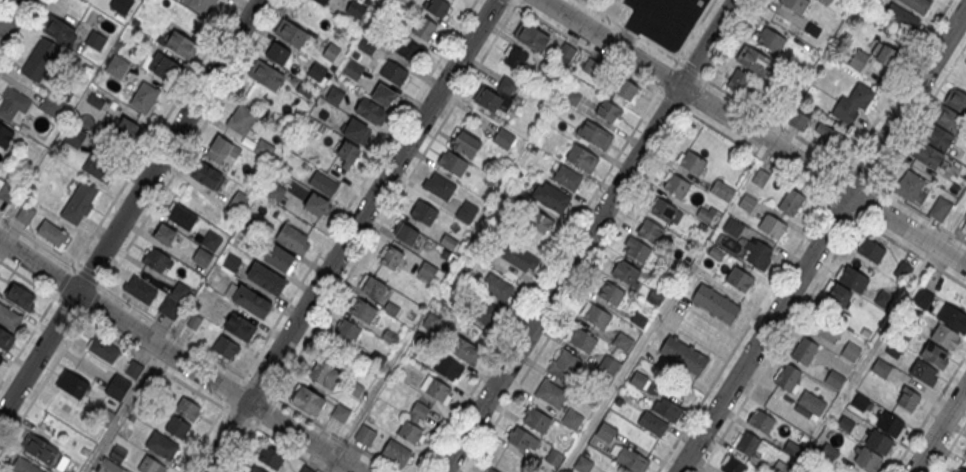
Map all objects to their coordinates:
building: (405, 0)
building: (322, 1)
road: (1, 2)
building: (201, 5)
building: (795, 5)
building: (917, 5)
building: (436, 7)
building: (355, 8)
building: (902, 16)
road: (11, 18)
parking lot: (664, 19)
building: (424, 27)
building: (60, 31)
building: (291, 32)
road: (22, 35)
building: (532, 37)
building: (96, 41)
building: (771, 41)
building: (181, 45)
building: (366, 46)
road: (583, 46)
building: (406, 48)
road: (658, 49)
building: (331, 51)
building: (277, 53)
building: (565, 54)
building: (886, 56)
building: (515, 57)
building: (40, 59)
building: (752, 59)
building: (858, 60)
building: (117, 66)
building: (163, 66)
building: (590, 66)
building: (353, 69)
building: (318, 71)
building: (393, 72)
building: (265, 74)
building: (738, 82)
building: (305, 89)
building: (627, 89)
building: (334, 94)
building: (383, 94)
building: (144, 97)
building: (573, 97)
building: (487, 98)
road: (888, 98)
building: (956, 100)
building: (853, 103)
building: (14, 105)
building: (50, 107)
building: (369, 109)
building: (609, 111)
building: (242, 118)
building: (949, 119)
building: (124, 129)
building: (357, 130)
road: (911, 130)
road: (155, 133)
building: (595, 133)
road: (753, 133)
building: (6, 136)
building: (938, 137)
building: (503, 139)
building: (464, 142)
road: (192, 143)
building: (264, 148)
building: (221, 150)
road: (821, 151)
building: (348, 153)
building: (927, 154)
building: (581, 156)
building: (692, 161)
building: (452, 162)
building: (98, 169)
building: (206, 174)
building: (567, 175)
building: (760, 177)
building: (323, 183)
building: (676, 183)
building: (908, 185)
building: (439, 186)
road: (358, 188)
building: (721, 188)
building: (7, 191)
building: (276, 192)
building: (550, 195)
road: (395, 197)
building: (790, 200)
building: (79, 202)
building: (746, 202)
building: (316, 203)
building: (236, 204)
building: (940, 207)
road: (129, 208)
building: (662, 208)
building: (424, 212)
building: (25, 213)
building: (466, 213)
building: (705, 213)
building: (965, 215)
building: (182, 216)
building: (540, 223)
building: (733, 226)
building: (773, 226)
building: (650, 228)
building: (407, 233)
building: (53, 234)
building: (165, 234)
road: (587, 235)
road: (610, 235)
road: (349, 236)
building: (293, 238)
road: (821, 239)
road: (36, 240)
building: (212, 240)
building: (449, 243)
building: (636, 247)
building: (871, 249)
building: (758, 253)
building: (202, 257)
building: (279, 257)
building: (392, 257)
building: (156, 259)
building: (520, 259)
road: (785, 265)
building: (902, 270)
building: (626, 271)
building: (426, 272)
building: (266, 278)
building: (740, 279)
road: (538, 282)
building: (373, 287)
building: (845, 288)
building: (140, 289)
building: (179, 291)
building: (611, 292)
building: (20, 296)
building: (252, 301)
building: (481, 302)
building: (716, 303)
building: (170, 307)
building: (363, 310)
building: (595, 316)
building: (9, 317)
building: (953, 317)
road: (157, 321)
building: (194, 321)
building: (431, 323)
road: (36, 324)
building: (240, 326)
building: (826, 328)
building: (347, 330)
road: (110, 334)
building: (944, 335)
building: (581, 338)
building: (6, 339)
building: (622, 341)
road: (779, 345)
building: (225, 347)
building: (462, 348)
building: (103, 349)
building: (804, 351)
building: (850, 351)
building: (683, 353)
building: (934, 355)
road: (176, 357)
building: (1, 358)
building: (565, 365)
building: (880, 366)
building: (449, 368)
road: (51, 369)
building: (921, 371)
building: (325, 374)
building: (788, 376)
building: (834, 378)
building: (639, 380)
road: (618, 381)
building: (72, 384)
building: (118, 387)
building: (356, 389)
building: (437, 389)
road: (372, 393)
building: (551, 393)
building: (908, 398)
building: (309, 400)
building: (779, 402)
building: (812, 402)
building: (860, 403)
road: (122, 409)
building: (668, 409)
building: (188, 410)
building: (340, 412)
road: (929, 412)
building: (573, 418)
building: (536, 419)
building: (652, 421)
building: (761, 421)
building: (890, 423)
road: (212, 424)
road: (319, 424)
building: (845, 424)
building: (177, 428)
road: (939, 429)
building: (409, 431)
building: (606, 431)
road: (249, 434)
building: (365, 434)
road: (274, 439)
building: (523, 439)
building: (879, 441)
building: (746, 442)
building: (162, 446)
road: (950, 447)
building: (41, 449)
building: (792, 449)
building: (396, 452)
building: (828, 452)
building: (965, 456)
building: (271, 457)
building: (631, 458)
building: (867, 459)
building: (583, 463)
building: (24, 465)
building: (150, 465)
building: (734, 465)
building: (108, 466)
building: (780, 467)
building: (256, 469)
building: (961, 469)
building: (490, 470)

